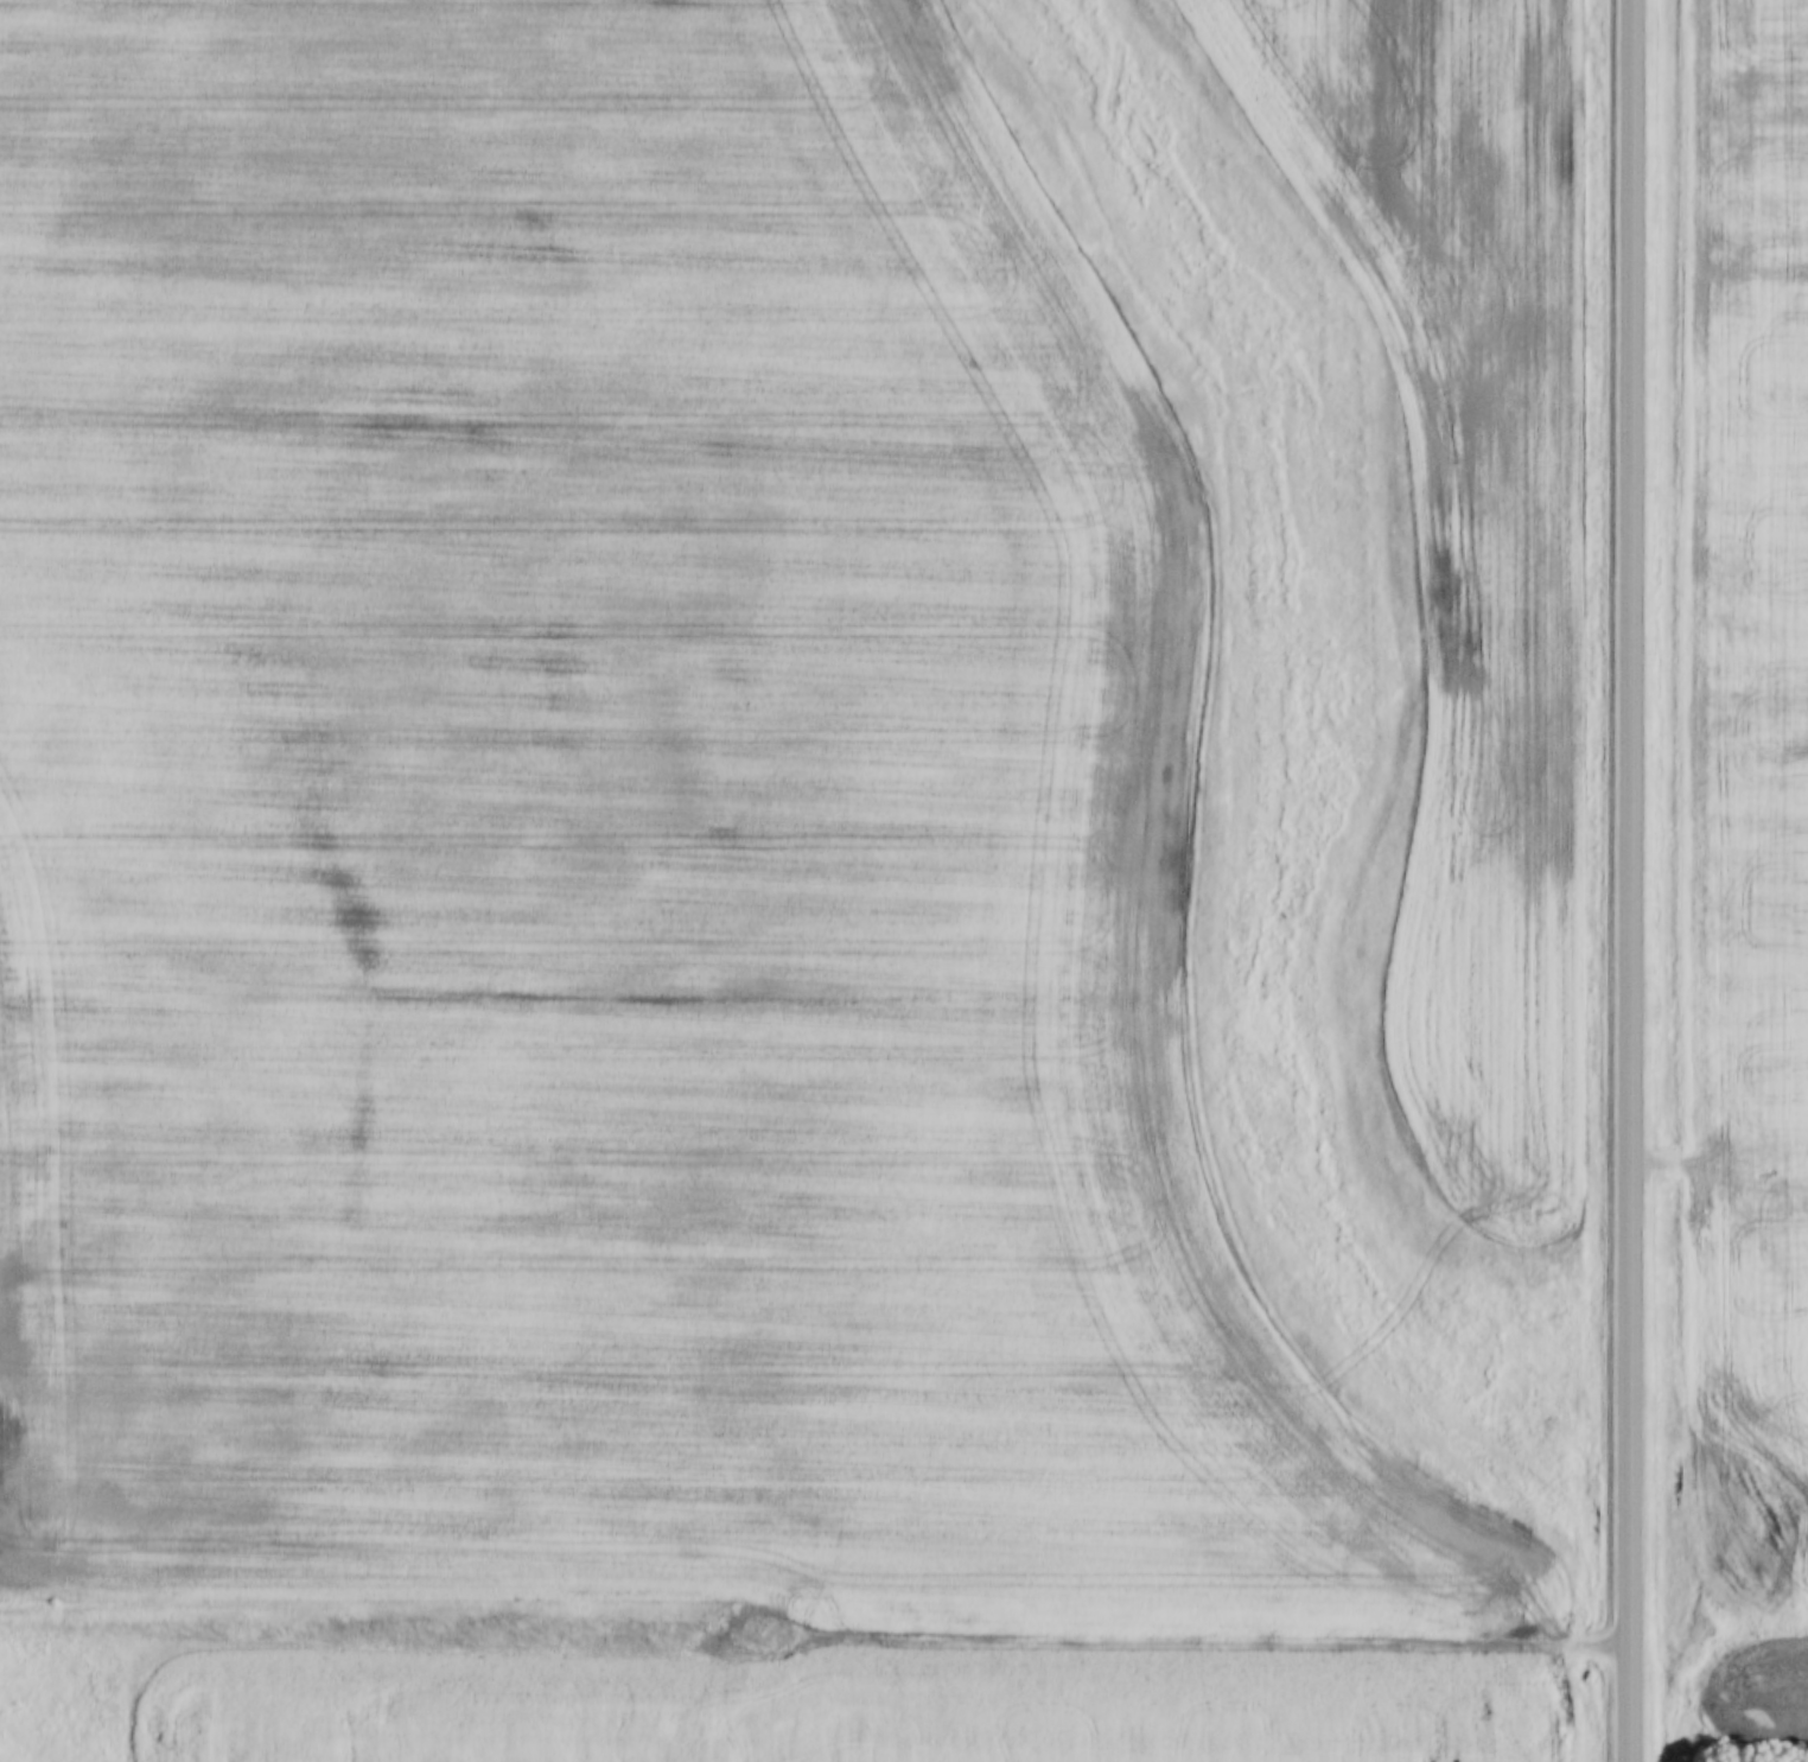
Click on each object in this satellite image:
road: (1630, 880)
road: (816, 1603)

